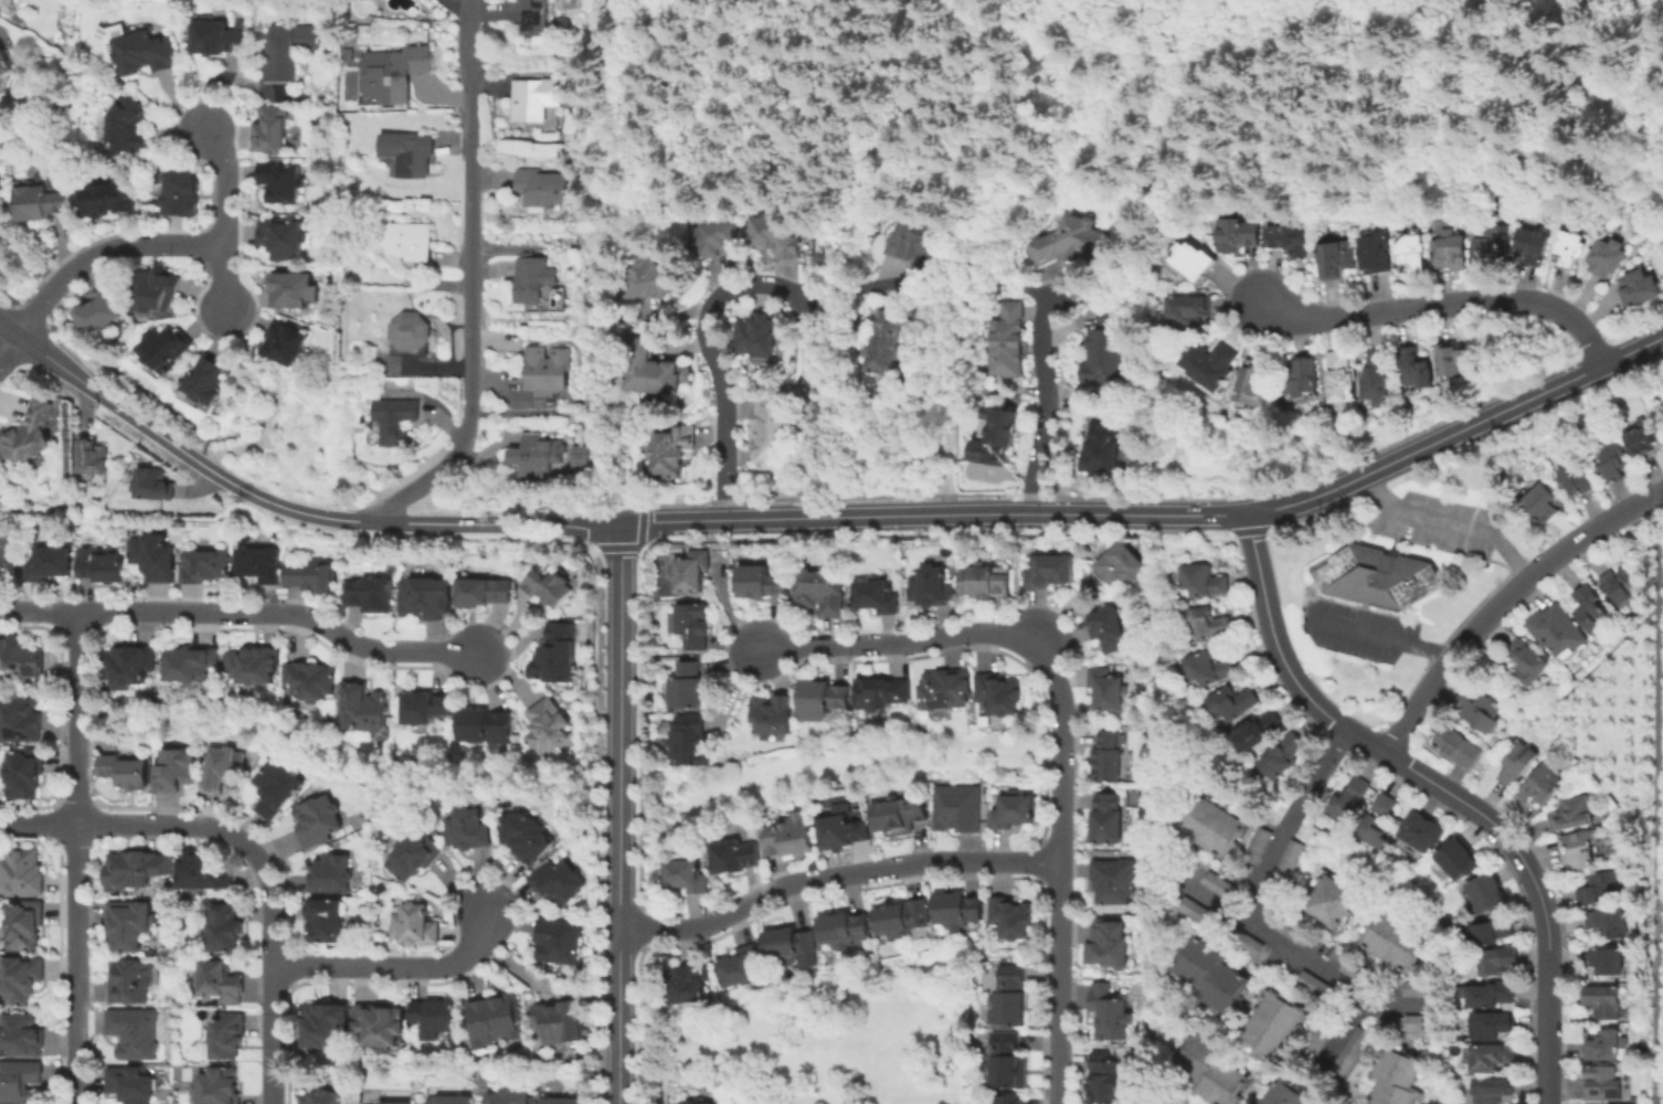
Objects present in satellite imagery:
building: (541, 18)
building: (216, 40)
building: (289, 52)
building: (145, 54)
building: (6, 63)
building: (393, 75)
road: (1094, 93)
building: (537, 100)
building: (127, 128)
building: (272, 131)
building: (411, 156)
building: (283, 184)
building: (541, 189)
building: (1, 193)
building: (182, 197)
building: (109, 200)
building: (39, 204)
road: (224, 222)
building: (1237, 233)
building: (775, 234)
building: (1290, 236)
building: (714, 237)
building: (915, 240)
building: (282, 241)
building: (1071, 242)
building: (412, 243)
building: (1534, 245)
building: (1494, 246)
building: (1570, 248)
building: (1451, 250)
building: (1376, 251)
road: (103, 253)
building: (1413, 253)
building: (1609, 256)
building: (1336, 257)
building: (1195, 259)
building: (649, 277)
building: (534, 280)
road: (470, 282)
building: (1641, 286)
building: (294, 293)
building: (156, 294)
road: (1442, 305)
building: (1189, 311)
building: (100, 314)
road: (10, 331)
building: (411, 333)
building: (758, 333)
building: (1008, 340)
building: (886, 342)
road: (951, 342)
building: (288, 347)
building: (1106, 349)
road: (10, 352)
building: (162, 352)
building: (1455, 359)
road: (716, 363)
building: (1211, 363)
building: (1417, 367)
building: (654, 369)
building: (549, 376)
building: (1342, 376)
building: (1379, 376)
building: (1302, 380)
building: (208, 385)
building: (1254, 386)
road: (109, 402)
road: (1045, 404)
road: (261, 406)
road: (1498, 411)
building: (395, 420)
building: (771, 428)
building: (29, 436)
building: (995, 436)
building: (1644, 438)
building: (1104, 447)
building: (672, 450)
building: (534, 457)
building: (92, 458)
building: (582, 458)
building: (1612, 458)
building: (1578, 478)
building: (153, 486)
building: (1545, 502)
road: (285, 507)
road: (978, 512)
road: (1445, 522)
road: (499, 523)
road: (1642, 524)
road: (1587, 533)
building: (277, 535)
road: (1422, 543)
building: (9, 548)
building: (153, 558)
building: (47, 563)
building: (203, 564)
building: (258, 564)
building: (1120, 564)
building: (99, 565)
building: (1049, 571)
building: (690, 572)
road: (1013, 573)
building: (309, 575)
building: (1379, 577)
building: (1205, 581)
building: (760, 582)
building: (986, 582)
building: (1621, 584)
building: (548, 587)
building: (931, 587)
building: (481, 592)
building: (819, 592)
building: (370, 595)
building: (876, 596)
building: (424, 597)
building: (1591, 607)
road: (243, 613)
road: (732, 615)
road: (1485, 618)
building: (690, 624)
building: (1208, 624)
building: (1108, 629)
building: (1557, 629)
road: (507, 630)
road: (1383, 636)
road: (511, 646)
building: (554, 656)
building: (21, 658)
building: (1529, 661)
road: (1595, 661)
building: (189, 664)
building: (127, 665)
building: (252, 665)
building: (1209, 668)
road: (506, 675)
building: (310, 680)
road: (1300, 680)
building: (686, 687)
building: (945, 689)
building: (1106, 690)
road: (733, 692)
building: (881, 692)
building: (998, 693)
building: (820, 700)
road: (1419, 701)
building: (1233, 702)
building: (423, 708)
building: (362, 709)
building: (1482, 712)
building: (772, 715)
building: (19, 718)
building: (483, 725)
road: (1058, 725)
building: (547, 726)
building: (1258, 731)
building: (690, 741)
road: (1561, 745)
building: (1458, 746)
building: (1108, 756)
building: (1282, 756)
building: (1518, 765)
building: (173, 769)
building: (223, 771)
building: (124, 772)
building: (24, 773)
building: (1542, 784)
building: (275, 788)
building: (1348, 800)
building: (1385, 805)
building: (957, 808)
building: (1014, 810)
road: (621, 814)
road: (1657, 814)
building: (1572, 815)
building: (898, 816)
building: (1106, 819)
building: (317, 820)
road: (1291, 824)
building: (427, 826)
building: (1212, 827)
building: (841, 829)
building: (467, 830)
building: (1375, 832)
building: (1424, 832)
building: (526, 837)
building: (790, 837)
building: (1260, 846)
road: (252, 849)
building: (1580, 849)
building: (413, 856)
building: (733, 857)
building: (1290, 857)
road: (77, 858)
building: (1459, 859)
building: (135, 867)
building: (201, 870)
building: (21, 871)
building: (329, 874)
building: (685, 875)
road: (835, 875)
building: (1114, 880)
building: (1415, 881)
building: (557, 883)
building: (1220, 885)
building: (381, 888)
building: (1601, 888)
building: (1487, 894)
building: (1330, 903)
building: (957, 911)
building: (1197, 912)
building: (1013, 917)
building: (903, 920)
building: (327, 922)
building: (1610, 922)
building: (23, 924)
building: (129, 924)
road: (1546, 924)
building: (222, 925)
building: (414, 926)
building: (1293, 931)
building: (845, 932)
building: (1490, 932)
building: (558, 941)
building: (1246, 942)
building: (1395, 942)
building: (1109, 944)
building: (788, 945)
road: (1299, 956)
building: (1498, 962)
building: (1607, 962)
road: (395, 967)
building: (741, 967)
building: (1359, 973)
building: (1210, 975)
building: (19, 977)
building: (129, 979)
building: (218, 979)
building: (688, 983)
building: (1315, 986)
building: (1421, 989)
building: (1489, 995)
building: (1009, 998)
building: (1604, 1002)
building: (165, 1011)
building: (1106, 1012)
building: (433, 1018)
building: (492, 1020)
building: (560, 1022)
building: (1416, 1022)
building: (1269, 1023)
building: (324, 1025)
building: (1493, 1026)
building: (377, 1027)
road: (1348, 1028)
building: (133, 1031)
building: (19, 1033)
building: (226, 1034)
building: (1321, 1038)
building: (1607, 1047)
building: (1352, 1051)
building: (1492, 1059)
building: (1007, 1062)
building: (1207, 1069)
building: (1103, 1079)
building: (1392, 1079)
building: (19, 1080)
building: (129, 1083)
building: (1602, 1084)
building: (216, 1085)
building: (1492, 1090)
building: (1281, 1092)
building: (322, 1097)
building: (508, 1098)
building: (1008, 1100)
building: (445, 1101)
building: (561, 1101)
building: (394, 1102)
building: (698, 1103)

